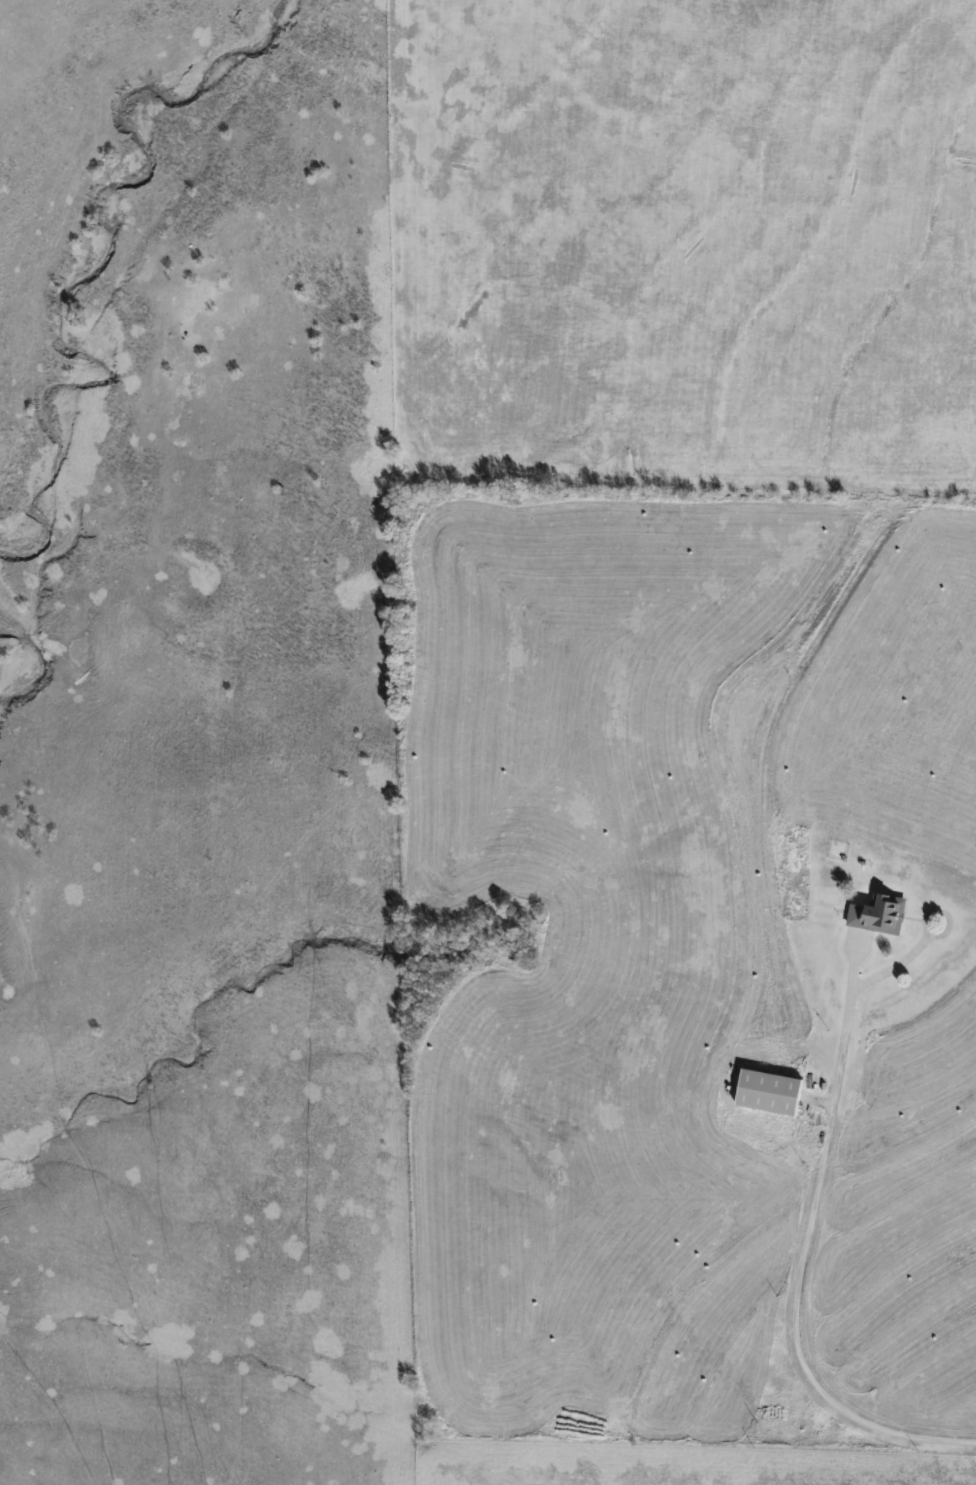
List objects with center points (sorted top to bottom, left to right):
building: (877, 914)
building: (765, 1093)
road: (804, 1270)

